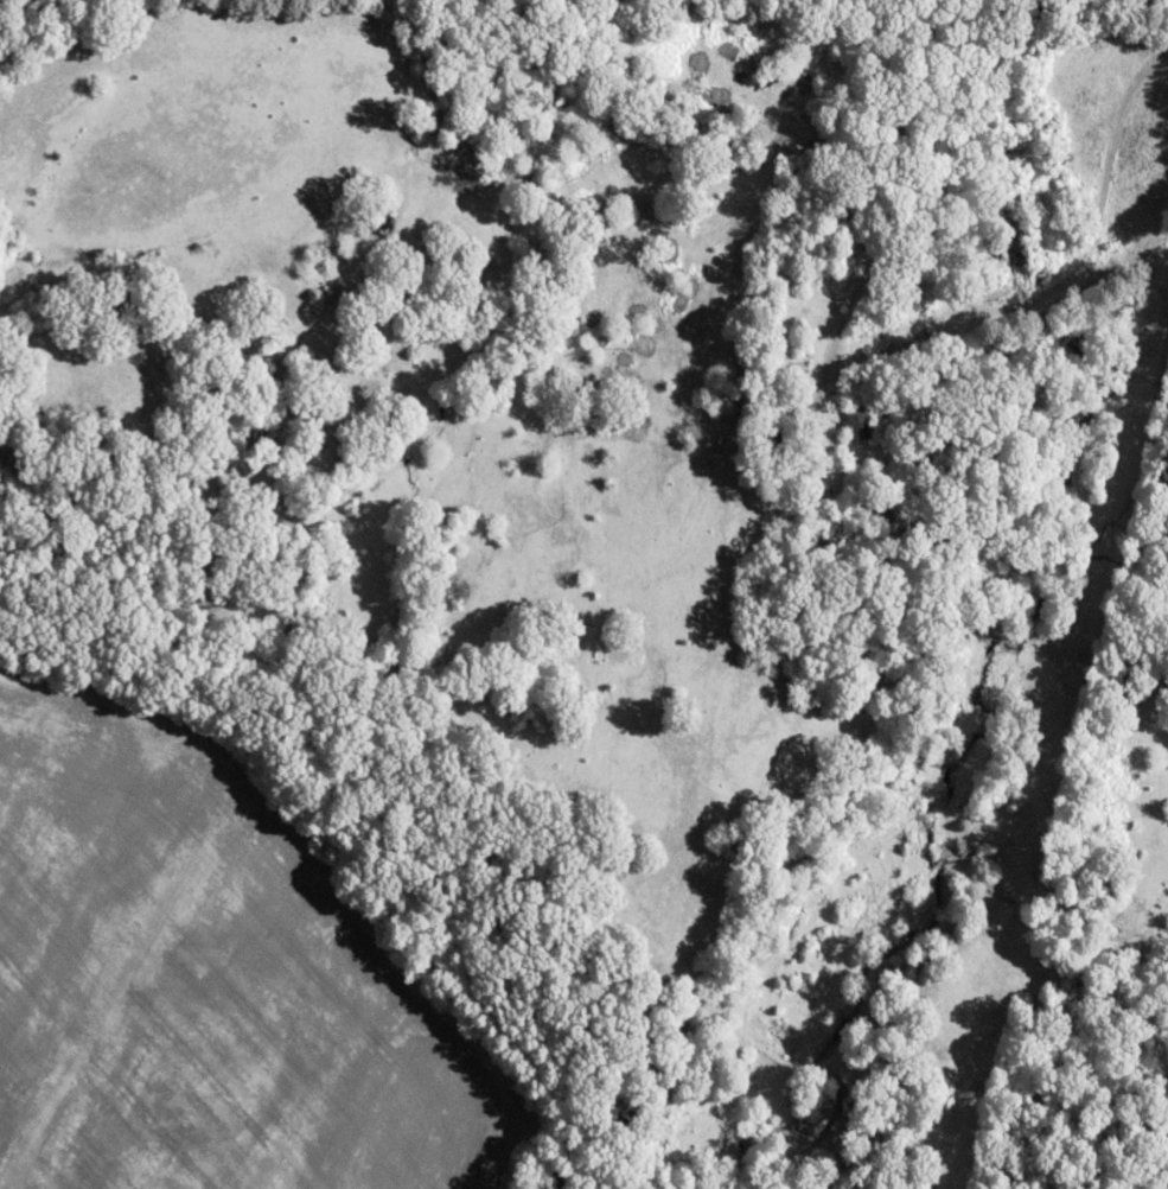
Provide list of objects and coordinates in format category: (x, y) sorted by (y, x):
road: (1035, 298)
building: (857, 421)

